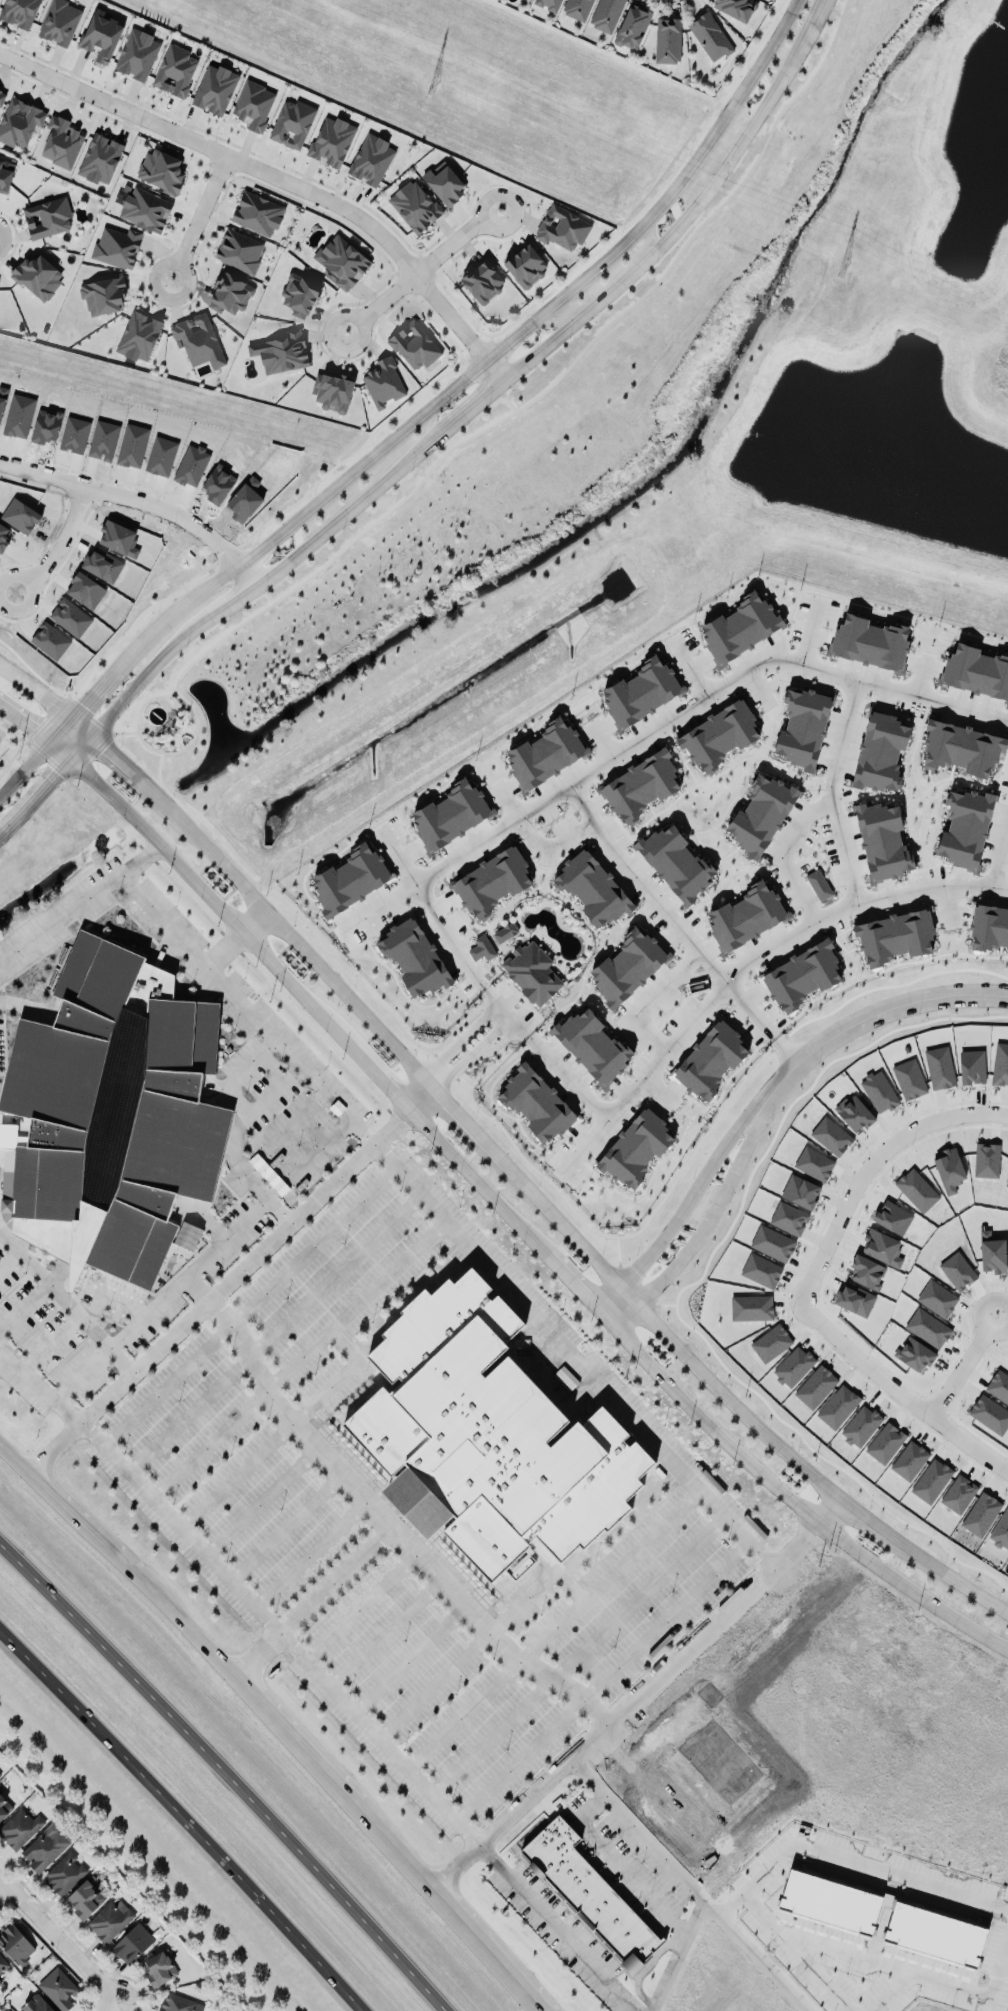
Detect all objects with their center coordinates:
building: (736, 8)
building: (578, 9)
building: (19, 12)
building: (606, 14)
building: (60, 22)
building: (633, 26)
building: (101, 35)
building: (710, 36)
building: (668, 40)
building: (137, 54)
building: (175, 70)
power tower: (430, 84)
building: (215, 89)
building: (2, 97)
building: (254, 104)
building: (19, 122)
building: (293, 123)
building: (332, 141)
building: (61, 142)
building: (100, 158)
building: (371, 159)
building: (161, 170)
building: (5, 175)
road: (281, 176)
building: (444, 182)
building: (415, 205)
building: (146, 209)
building: (258, 213)
road: (198, 215)
building: (47, 217)
building: (562, 227)
building: (117, 246)
building: (239, 250)
building: (341, 260)
building: (526, 265)
road: (420, 268)
power tower: (844, 273)
building: (38, 276)
building: (483, 281)
building: (230, 294)
building: (300, 294)
building: (104, 295)
building: (139, 336)
building: (198, 340)
building: (414, 345)
building: (282, 352)
road: (489, 357)
building: (383, 382)
building: (332, 391)
road: (489, 393)
road: (145, 491)
road: (63, 535)
building: (71, 615)
road: (881, 616)
building: (740, 627)
road: (812, 628)
building: (51, 638)
building: (870, 641)
road: (688, 664)
building: (975, 671)
road: (920, 676)
road: (96, 686)
road: (757, 686)
road: (36, 688)
building: (641, 692)
road: (776, 710)
road: (27, 719)
road: (82, 724)
road: (536, 725)
road: (658, 725)
road: (62, 727)
building: (803, 727)
building: (719, 735)
road: (82, 744)
road: (62, 747)
building: (962, 747)
building: (881, 752)
building: (545, 753)
road: (122, 759)
road: (27, 769)
road: (717, 775)
building: (640, 786)
road: (37, 793)
road: (510, 800)
road: (821, 805)
building: (451, 814)
building: (761, 814)
building: (965, 828)
building: (883, 841)
road: (553, 845)
road: (845, 853)
road: (1000, 857)
building: (676, 862)
building: (350, 879)
building: (492, 882)
building: (819, 884)
building: (592, 888)
road: (212, 899)
road: (948, 904)
road: (61, 913)
building: (746, 916)
road: (438, 921)
road: (680, 924)
building: (989, 927)
building: (505, 932)
road: (290, 934)
building: (894, 936)
road: (237, 937)
building: (482, 947)
building: (415, 957)
building: (628, 966)
road: (883, 969)
building: (532, 972)
building: (802, 975)
road: (720, 987)
road: (652, 1000)
road: (879, 1013)
road: (464, 1037)
building: (593, 1046)
road: (476, 1053)
building: (711, 1060)
building: (1000, 1064)
building: (972, 1066)
building: (940, 1067)
road: (309, 1073)
road: (381, 1076)
building: (909, 1078)
road: (659, 1090)
building: (879, 1091)
road: (421, 1094)
building: (536, 1103)
road: (460, 1111)
building: (855, 1113)
building: (112, 1114)
road: (237, 1115)
road: (362, 1131)
building: (831, 1135)
road: (585, 1146)
building: (636, 1147)
building: (814, 1163)
road: (477, 1177)
road: (418, 1191)
building: (800, 1191)
road: (690, 1200)
road: (279, 1210)
road: (711, 1217)
building: (789, 1218)
building: (188, 1235)
building: (772, 1242)
road: (314, 1246)
building: (882, 1247)
building: (761, 1270)
road: (336, 1276)
road: (572, 1276)
road: (808, 1282)
road: (217, 1288)
building: (855, 1299)
road: (65, 1300)
road: (357, 1303)
building: (751, 1307)
road: (151, 1313)
road: (610, 1316)
road: (661, 1325)
road: (963, 1366)
road: (39, 1385)
road: (167, 1385)
road: (620, 1403)
road: (188, 1414)
building: (484, 1428)
road: (211, 1443)
road: (13, 1458)
road: (238, 1475)
road: (261, 1500)
road: (796, 1510)
road: (79, 1521)
road: (867, 1522)
road: (392, 1525)
parking lot: (396, 1525)
road: (287, 1526)
road: (312, 1552)
road: (607, 1574)
road: (950, 1578)
road: (337, 1579)
road: (534, 1587)
road: (637, 1598)
road: (361, 1606)
road: (184, 1624)
road: (280, 1631)
road: (386, 1632)
road: (260, 1656)
road: (408, 1659)
road: (603, 1680)
road: (435, 1686)
road: (638, 1694)
road: (463, 1715)
road: (295, 1738)
road: (491, 1738)
road: (649, 1747)
building: (0, 1774)
road: (226, 1774)
road: (663, 1805)
building: (4, 1807)
road: (184, 1818)
building: (20, 1828)
road: (393, 1844)
building: (46, 1848)
road: (866, 1861)
road: (618, 1862)
building: (66, 1872)
road: (678, 1873)
road: (2, 1879)
building: (592, 1893)
building: (84, 1899)
road: (731, 1905)
building: (111, 1919)
building: (842, 1919)
road: (558, 1927)
road: (58, 1938)
building: (15, 1943)
building: (134, 1944)
road: (488, 1948)
road: (756, 1954)
road: (883, 1963)
building: (3, 1964)
building: (159, 1967)
building: (1, 1982)
road: (823, 1982)
building: (58, 1988)
road: (889, 1991)
building: (36, 2003)
building: (179, 2003)
road: (111, 2007)
building: (6, 2009)

